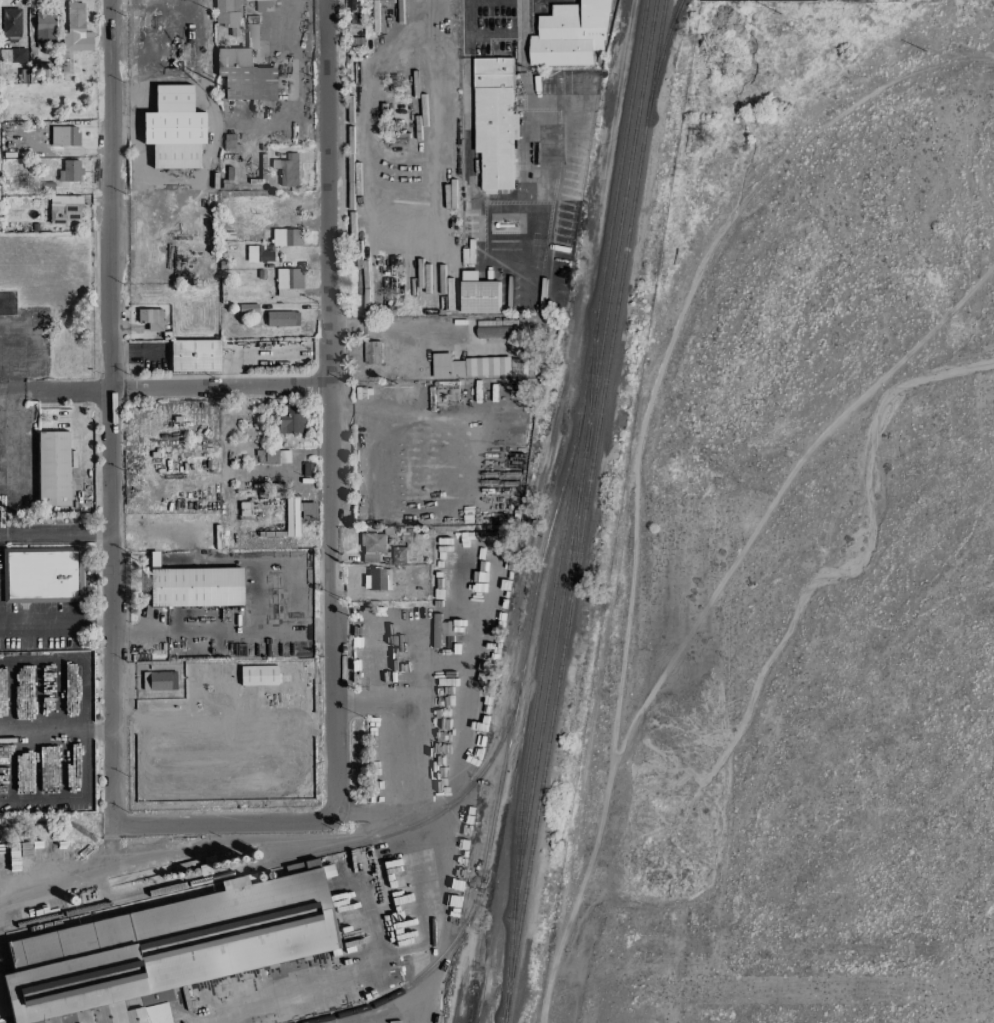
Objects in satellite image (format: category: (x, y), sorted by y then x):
building: (352, 4)
building: (227, 15)
road: (519, 17)
road: (466, 19)
building: (10, 24)
building: (44, 29)
building: (75, 30)
building: (572, 34)
building: (252, 36)
railway: (662, 53)
building: (12, 55)
building: (64, 63)
building: (44, 67)
building: (245, 76)
building: (495, 121)
building: (173, 129)
building: (64, 136)
building: (287, 169)
building: (69, 171)
railway: (623, 205)
road: (510, 206)
building: (63, 209)
building: (286, 237)
building: (258, 255)
building: (288, 282)
building: (478, 294)
building: (150, 319)
building: (282, 319)
road: (393, 324)
building: (494, 329)
building: (372, 352)
building: (194, 356)
building: (474, 366)
road: (180, 388)
road: (12, 393)
road: (27, 393)
railway: (581, 410)
road: (330, 412)
road: (111, 413)
road: (453, 416)
building: (290, 420)
road: (371, 437)
building: (276, 457)
building: (52, 469)
road: (58, 529)
road: (2, 530)
building: (371, 547)
building: (40, 574)
building: (377, 579)
building: (193, 586)
railway: (558, 616)
building: (447, 628)
road: (222, 632)
road: (79, 658)
building: (258, 676)
building: (159, 681)
road: (469, 696)
road: (419, 757)
road: (86, 764)
road: (224, 825)
railway: (412, 826)
road: (244, 844)
building: (327, 871)
road: (70, 879)
railway: (474, 903)
building: (163, 951)

